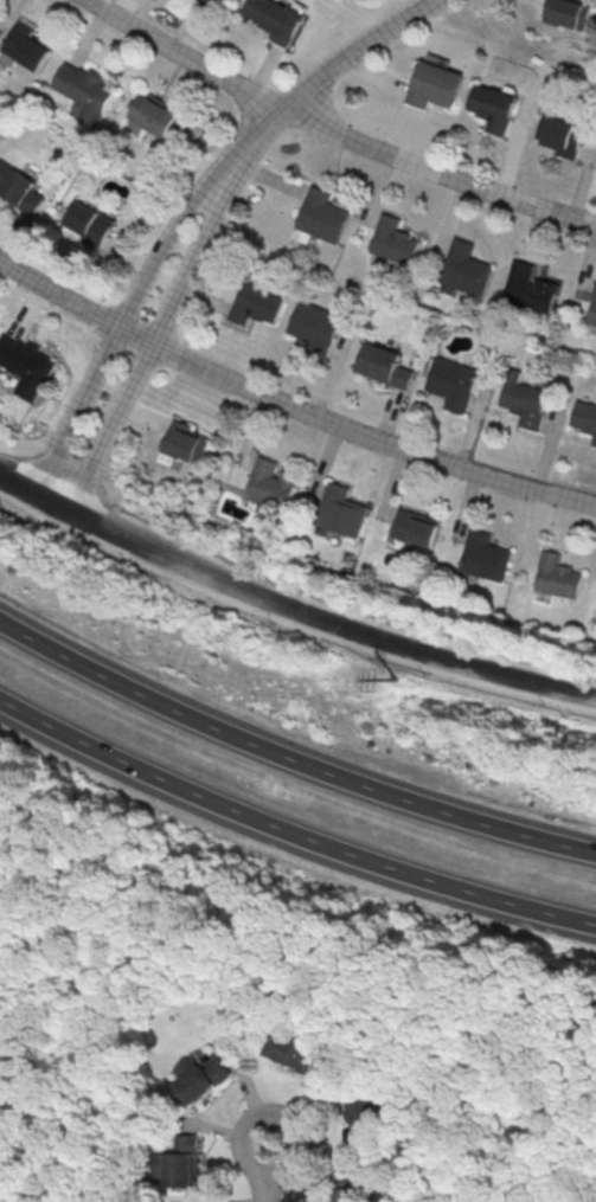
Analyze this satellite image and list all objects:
building: (226, 0)
building: (565, 12)
building: (274, 18)
building: (25, 46)
road: (318, 79)
building: (432, 85)
building: (84, 90)
building: (492, 107)
building: (160, 117)
road: (334, 129)
building: (559, 135)
building: (21, 187)
building: (321, 216)
building: (91, 220)
building: (391, 242)
building: (462, 268)
building: (528, 288)
building: (256, 304)
building: (592, 308)
road: (118, 327)
building: (313, 327)
road: (150, 345)
building: (25, 365)
building: (384, 365)
building: (451, 383)
building: (521, 399)
road: (288, 404)
building: (584, 418)
building: (185, 442)
road: (18, 481)
building: (268, 484)
building: (339, 512)
building: (414, 528)
building: (482, 557)
building: (556, 577)
road: (309, 612)
power tower: (392, 679)
road: (288, 758)
road: (289, 831)
road: (55, 1011)
building: (294, 1052)
building: (200, 1076)
building: (364, 1121)
building: (184, 1161)
road: (265, 1170)
building: (353, 1194)

